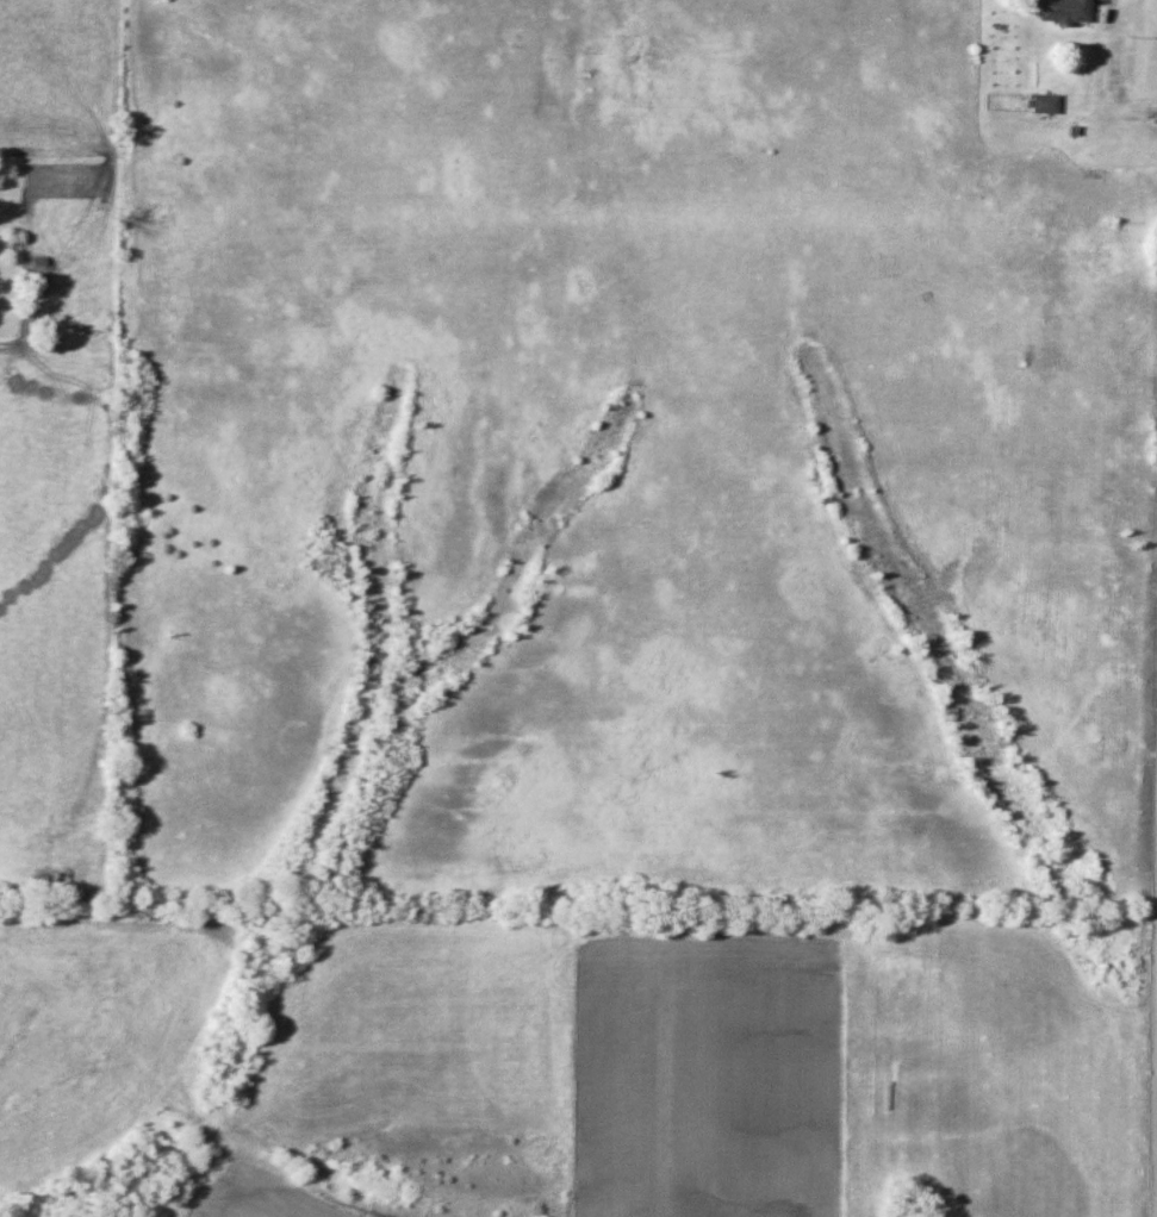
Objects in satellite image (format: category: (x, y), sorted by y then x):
building: (1063, 11)
building: (1043, 104)

